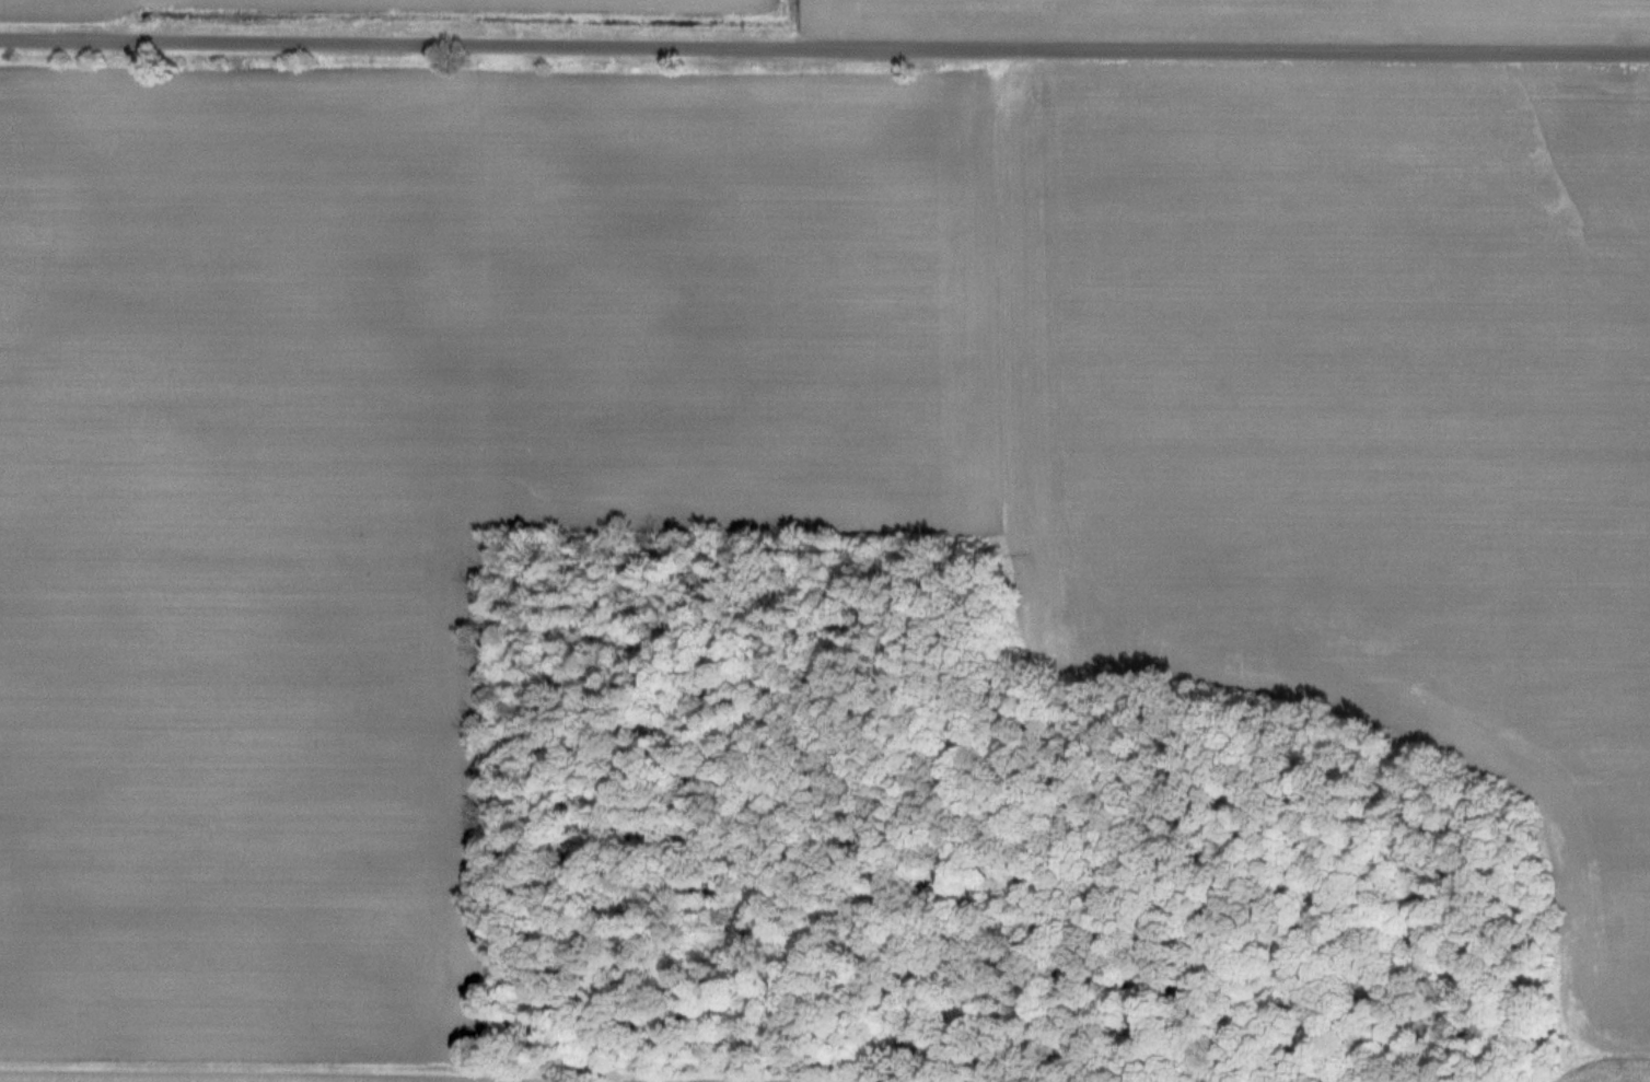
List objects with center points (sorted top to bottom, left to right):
road: (825, 48)

